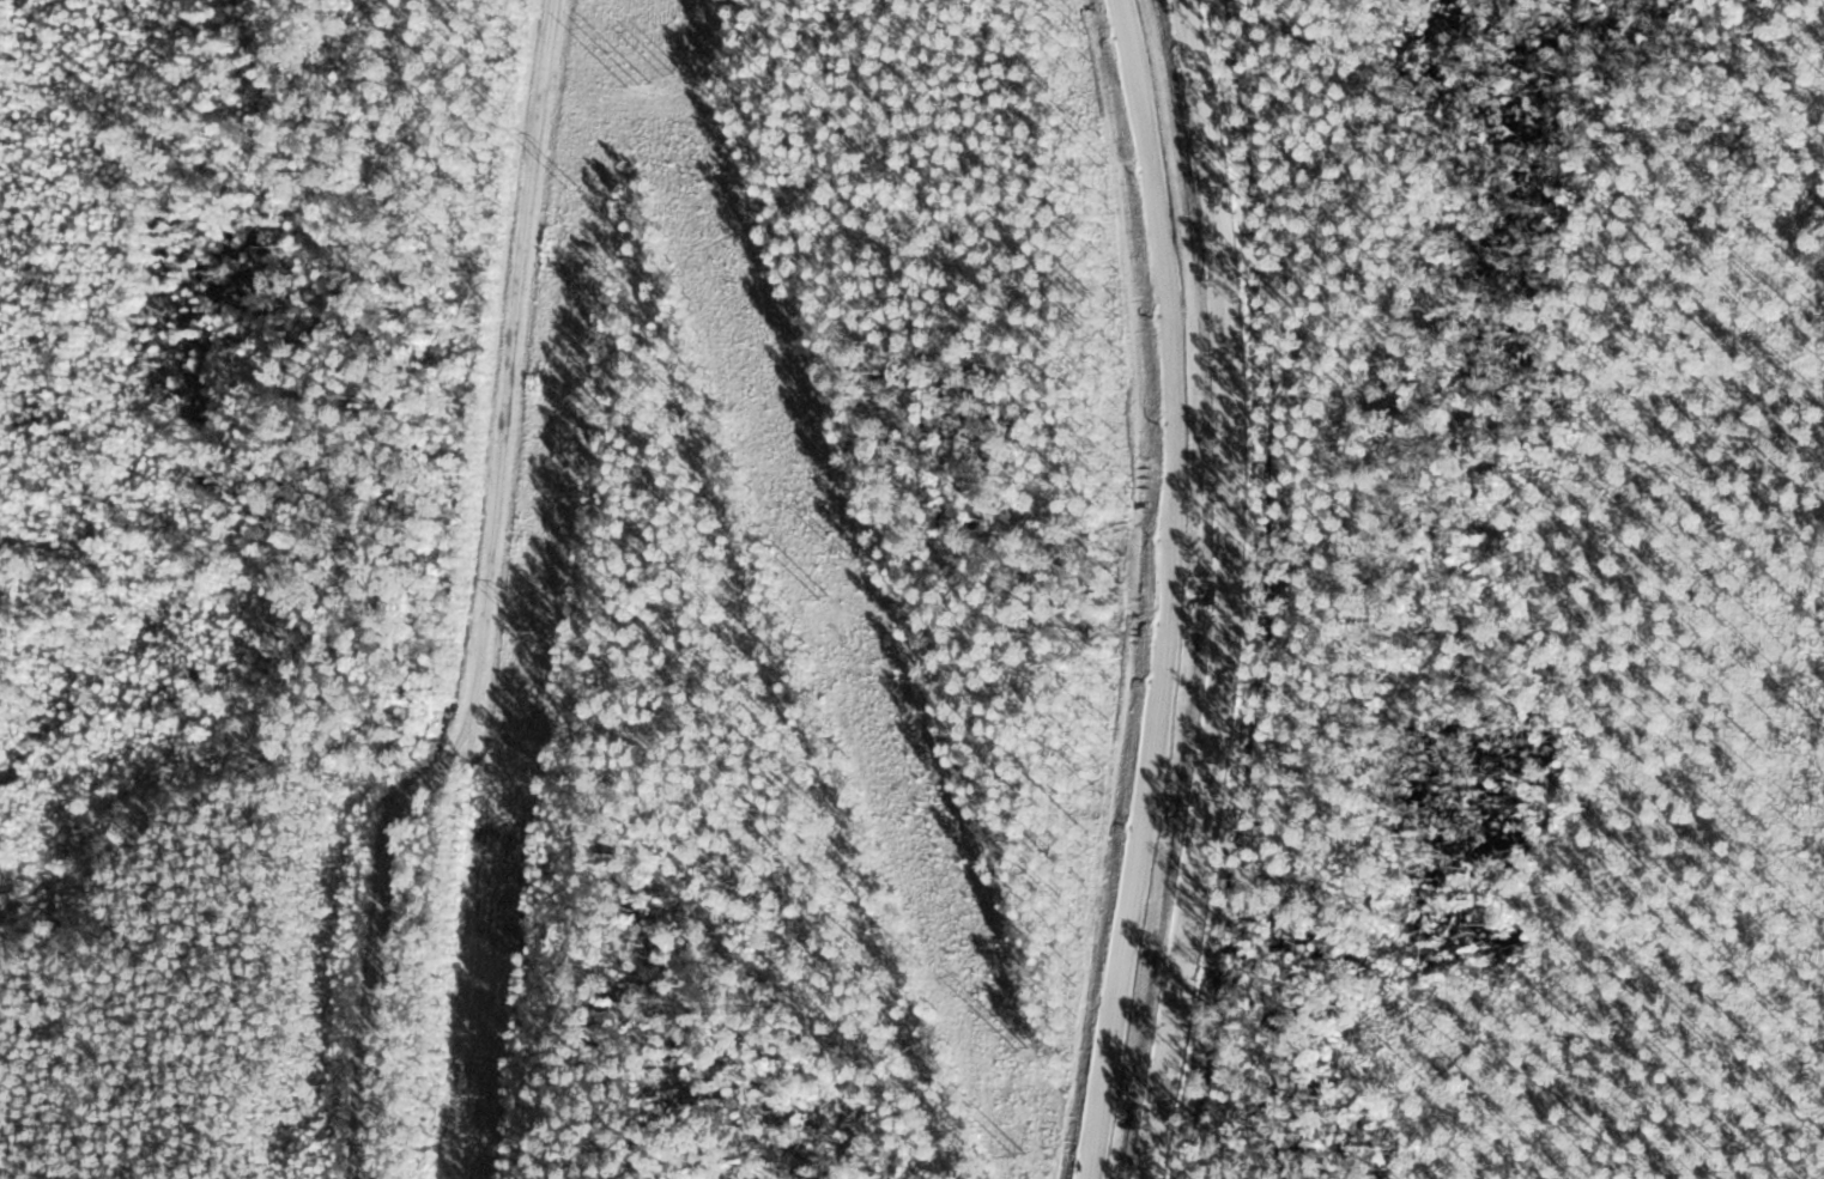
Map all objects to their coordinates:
power tower: (678, 77)
power tower: (640, 78)
power tower: (578, 192)
power tower: (852, 559)
power tower: (825, 601)
power tower: (529, 633)
power tower: (993, 1075)
power tower: (1034, 1077)
power tower: (483, 1095)

